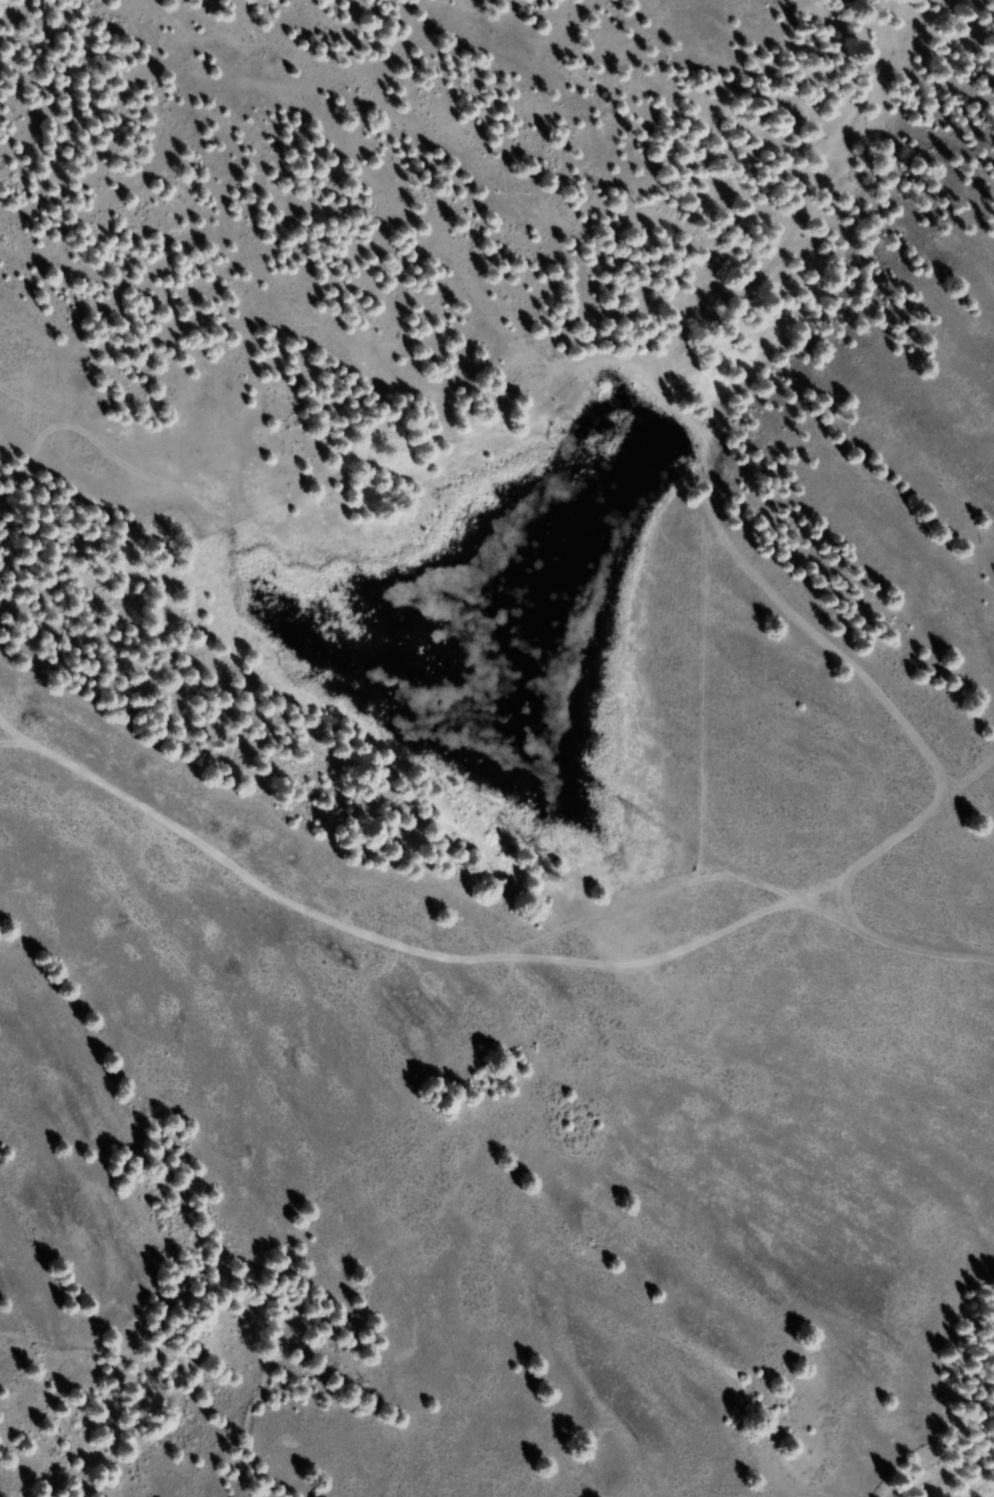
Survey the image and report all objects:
road: (759, 866)

